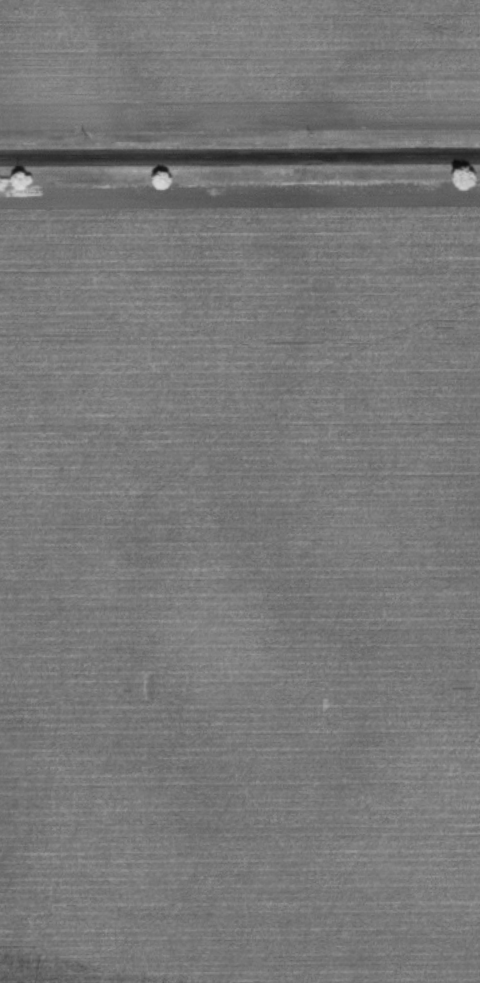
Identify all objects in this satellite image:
crop: (240, 62)
road: (240, 157)
crop: (240, 586)

